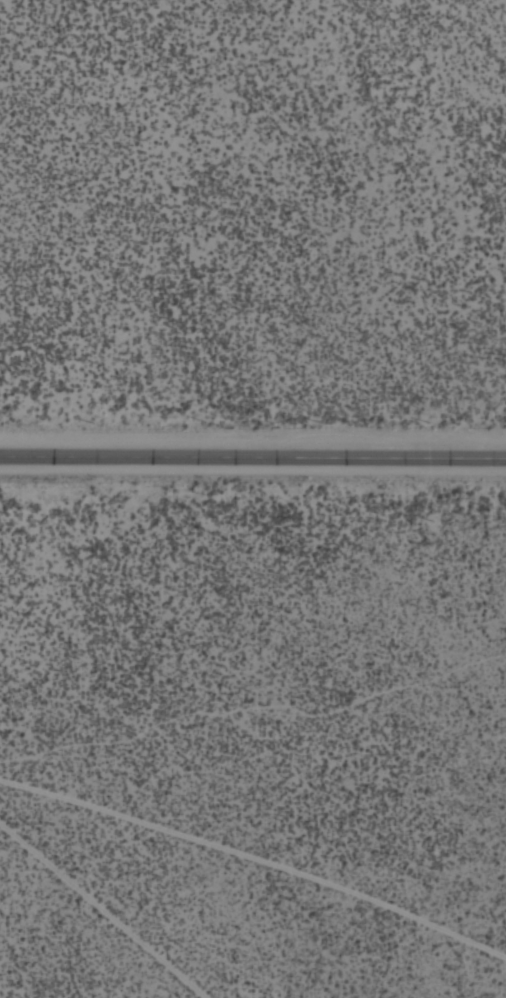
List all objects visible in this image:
road: (253, 455)
road: (256, 854)
road: (98, 911)

